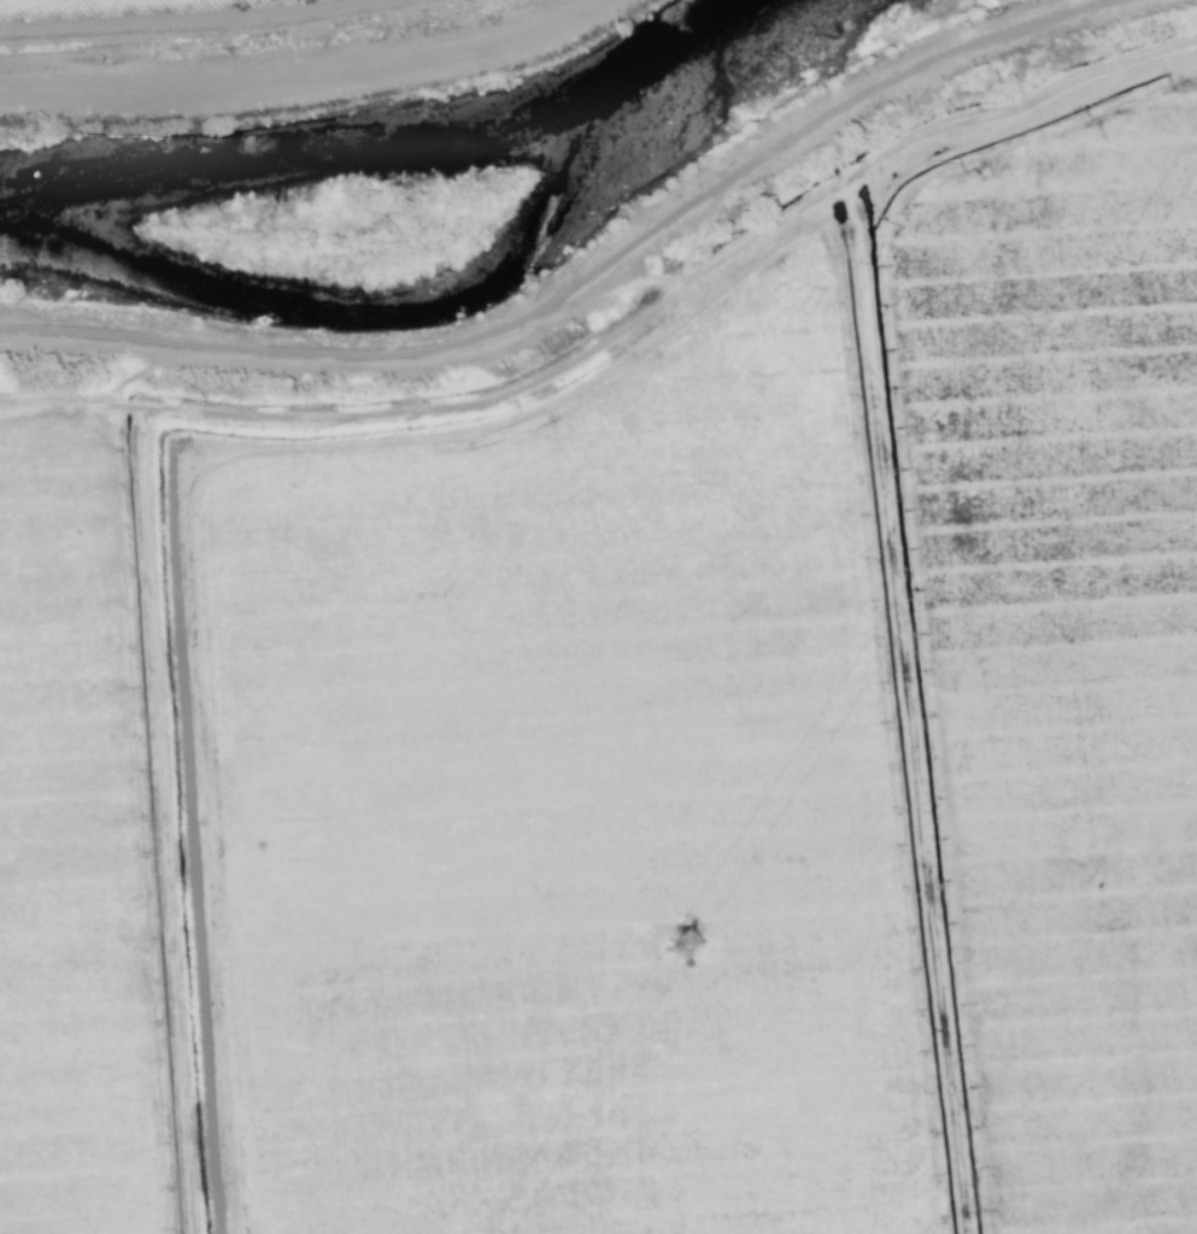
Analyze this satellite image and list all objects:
road: (246, 42)
river: (416, 125)
road: (568, 282)
road: (621, 298)
power tower: (676, 946)

